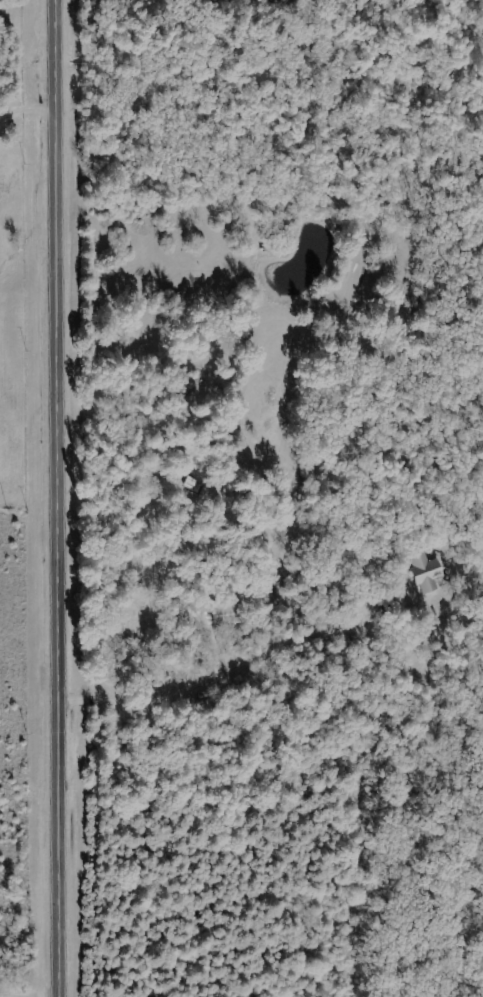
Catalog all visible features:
road: (26, 125)
road: (53, 498)
building: (425, 572)
road: (227, 672)

